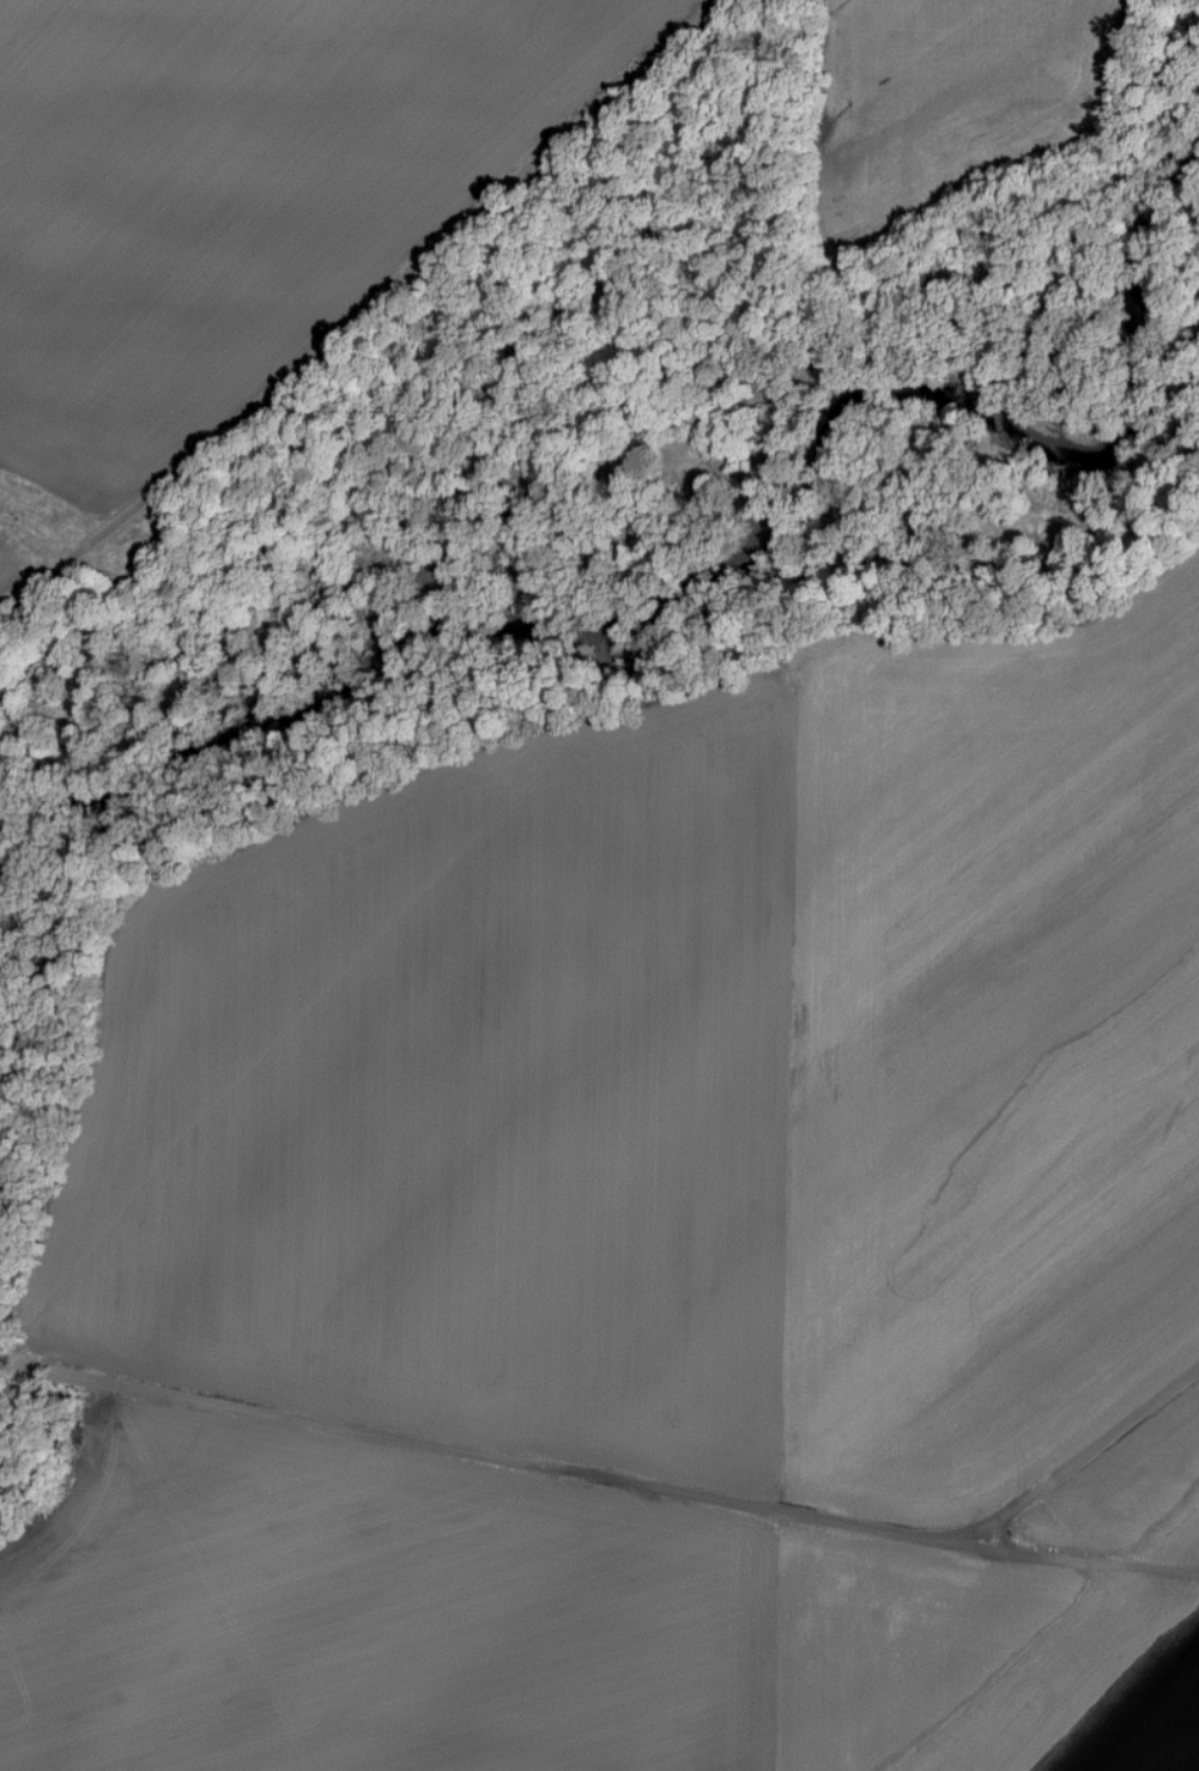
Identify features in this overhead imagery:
road: (358, 307)
road: (1084, 1461)
road: (511, 1467)
road: (1110, 1572)

